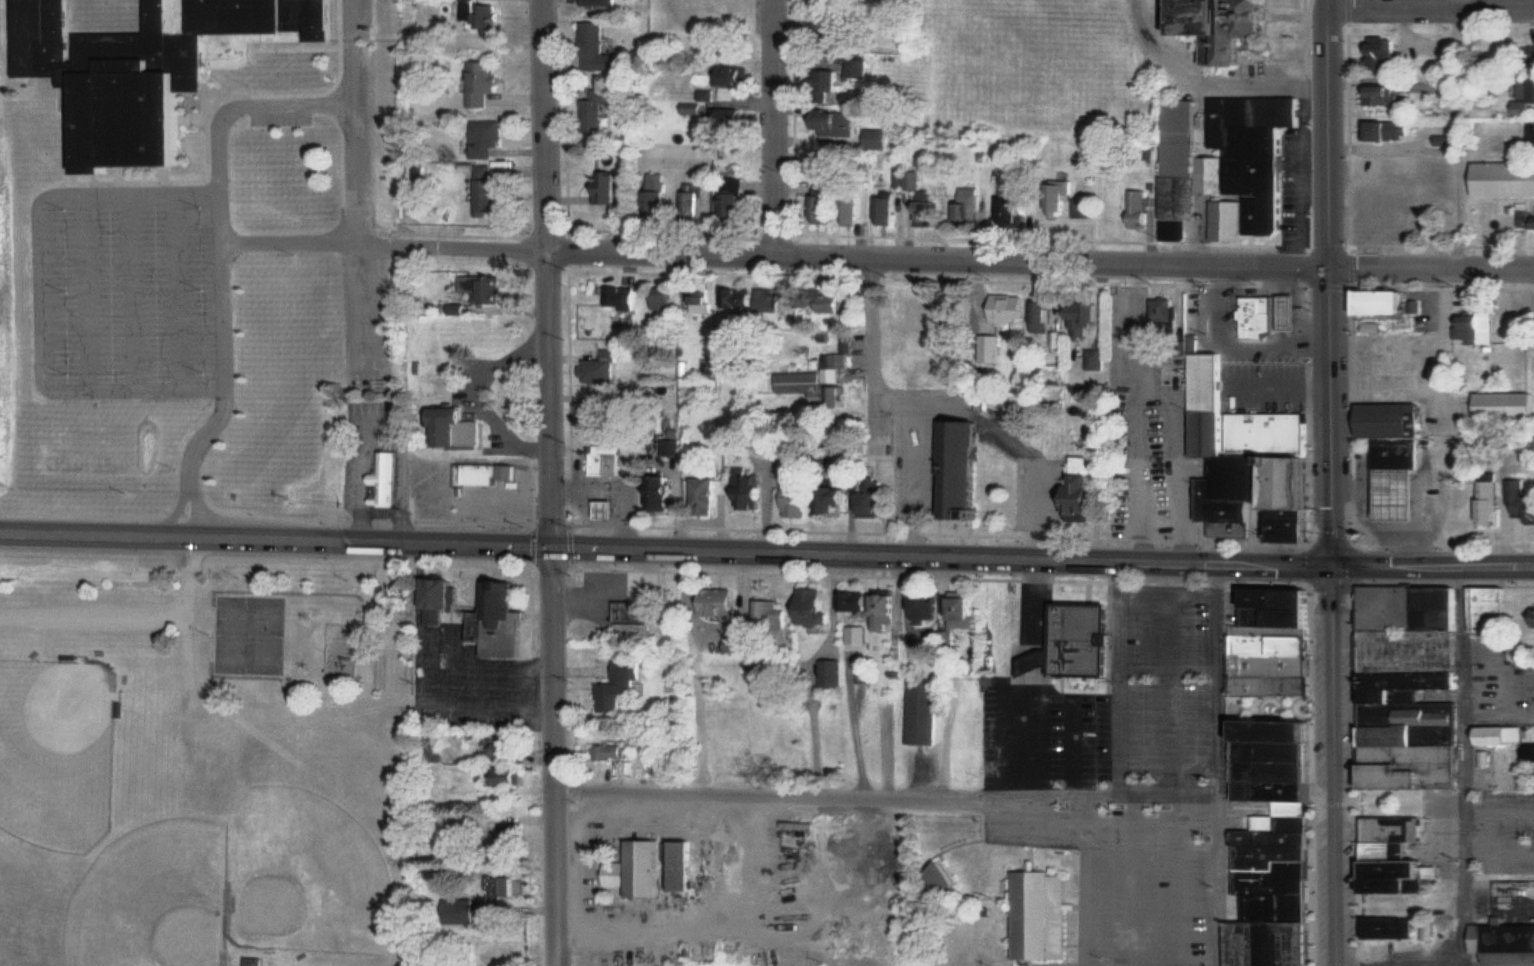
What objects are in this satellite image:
road: (1458, 2)
road: (1431, 5)
building: (483, 14)
building: (1230, 27)
building: (595, 46)
building: (1384, 50)
building: (152, 63)
building: (738, 74)
road: (1213, 76)
building: (830, 81)
building: (486, 82)
building: (1528, 91)
building: (730, 93)
building: (1385, 96)
road: (286, 106)
building: (596, 110)
building: (735, 118)
road: (360, 120)
road: (774, 125)
building: (840, 127)
building: (1393, 131)
building: (1532, 135)
building: (489, 138)
building: (879, 138)
building: (1227, 166)
building: (1504, 179)
building: (1403, 182)
building: (612, 189)
building: (488, 190)
building: (661, 197)
building: (1062, 197)
building: (734, 198)
building: (697, 201)
building: (826, 204)
building: (973, 204)
building: (855, 208)
building: (889, 208)
building: (1019, 208)
building: (1141, 208)
building: (1088, 209)
building: (932, 213)
building: (1527, 220)
road: (847, 252)
road: (1433, 262)
road: (551, 272)
road: (1333, 280)
building: (484, 288)
building: (623, 298)
building: (667, 298)
building: (762, 299)
road: (873, 300)
building: (704, 302)
building: (1390, 302)
building: (834, 303)
building: (1013, 308)
building: (1295, 312)
building: (1167, 314)
building: (1045, 316)
building: (1262, 316)
building: (1088, 319)
building: (1478, 326)
building: (1099, 359)
building: (602, 368)
building: (823, 381)
building: (1505, 405)
building: (605, 409)
building: (1395, 420)
building: (461, 428)
building: (1237, 447)
building: (1399, 453)
building: (608, 460)
building: (966, 471)
building: (484, 474)
building: (387, 477)
building: (1438, 487)
building: (751, 490)
building: (665, 492)
building: (707, 492)
building: (1400, 493)
building: (1088, 497)
building: (1524, 498)
building: (802, 499)
building: (840, 499)
building: (1300, 500)
building: (876, 502)
building: (1475, 503)
building: (611, 508)
road: (276, 538)
road: (942, 555)
traffic signals: (1333, 561)
road: (1433, 561)
building: (435, 588)
building: (495, 589)
building: (858, 601)
building: (723, 603)
building: (819, 607)
building: (927, 607)
building: (890, 610)
building: (967, 611)
building: (1492, 611)
building: (637, 612)
building: (773, 614)
park: (234, 633)
park: (269, 633)
building: (1085, 639)
building: (1275, 644)
building: (835, 674)
road: (417, 678)
parking lot: (469, 678)
building: (1415, 687)
building: (615, 694)
building: (925, 711)
building: (1507, 737)
building: (513, 746)
park: (58, 750)
road: (554, 756)
road: (1463, 762)
road: (1335, 763)
road: (1216, 764)
park: (200, 768)
building: (508, 775)
road: (885, 787)
building: (1279, 846)
building: (1400, 856)
building: (684, 864)
building: (649, 866)
park: (305, 872)
building: (619, 876)
building: (947, 876)
building: (503, 887)
park: (155, 898)
building: (1044, 914)
building: (1393, 927)
building: (1507, 943)
building: (255, 961)
road: (1435, 963)

